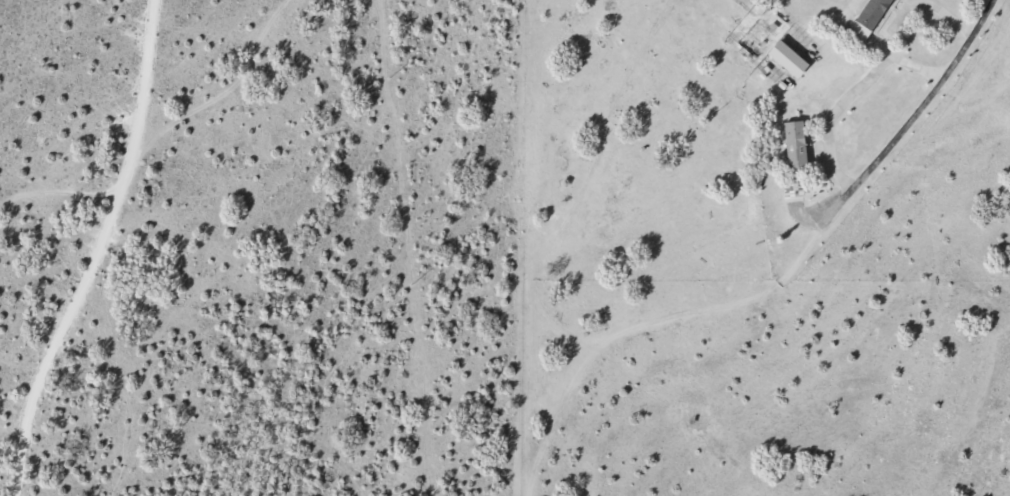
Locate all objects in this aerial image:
building: (869, 19)
building: (789, 58)
building: (795, 158)

